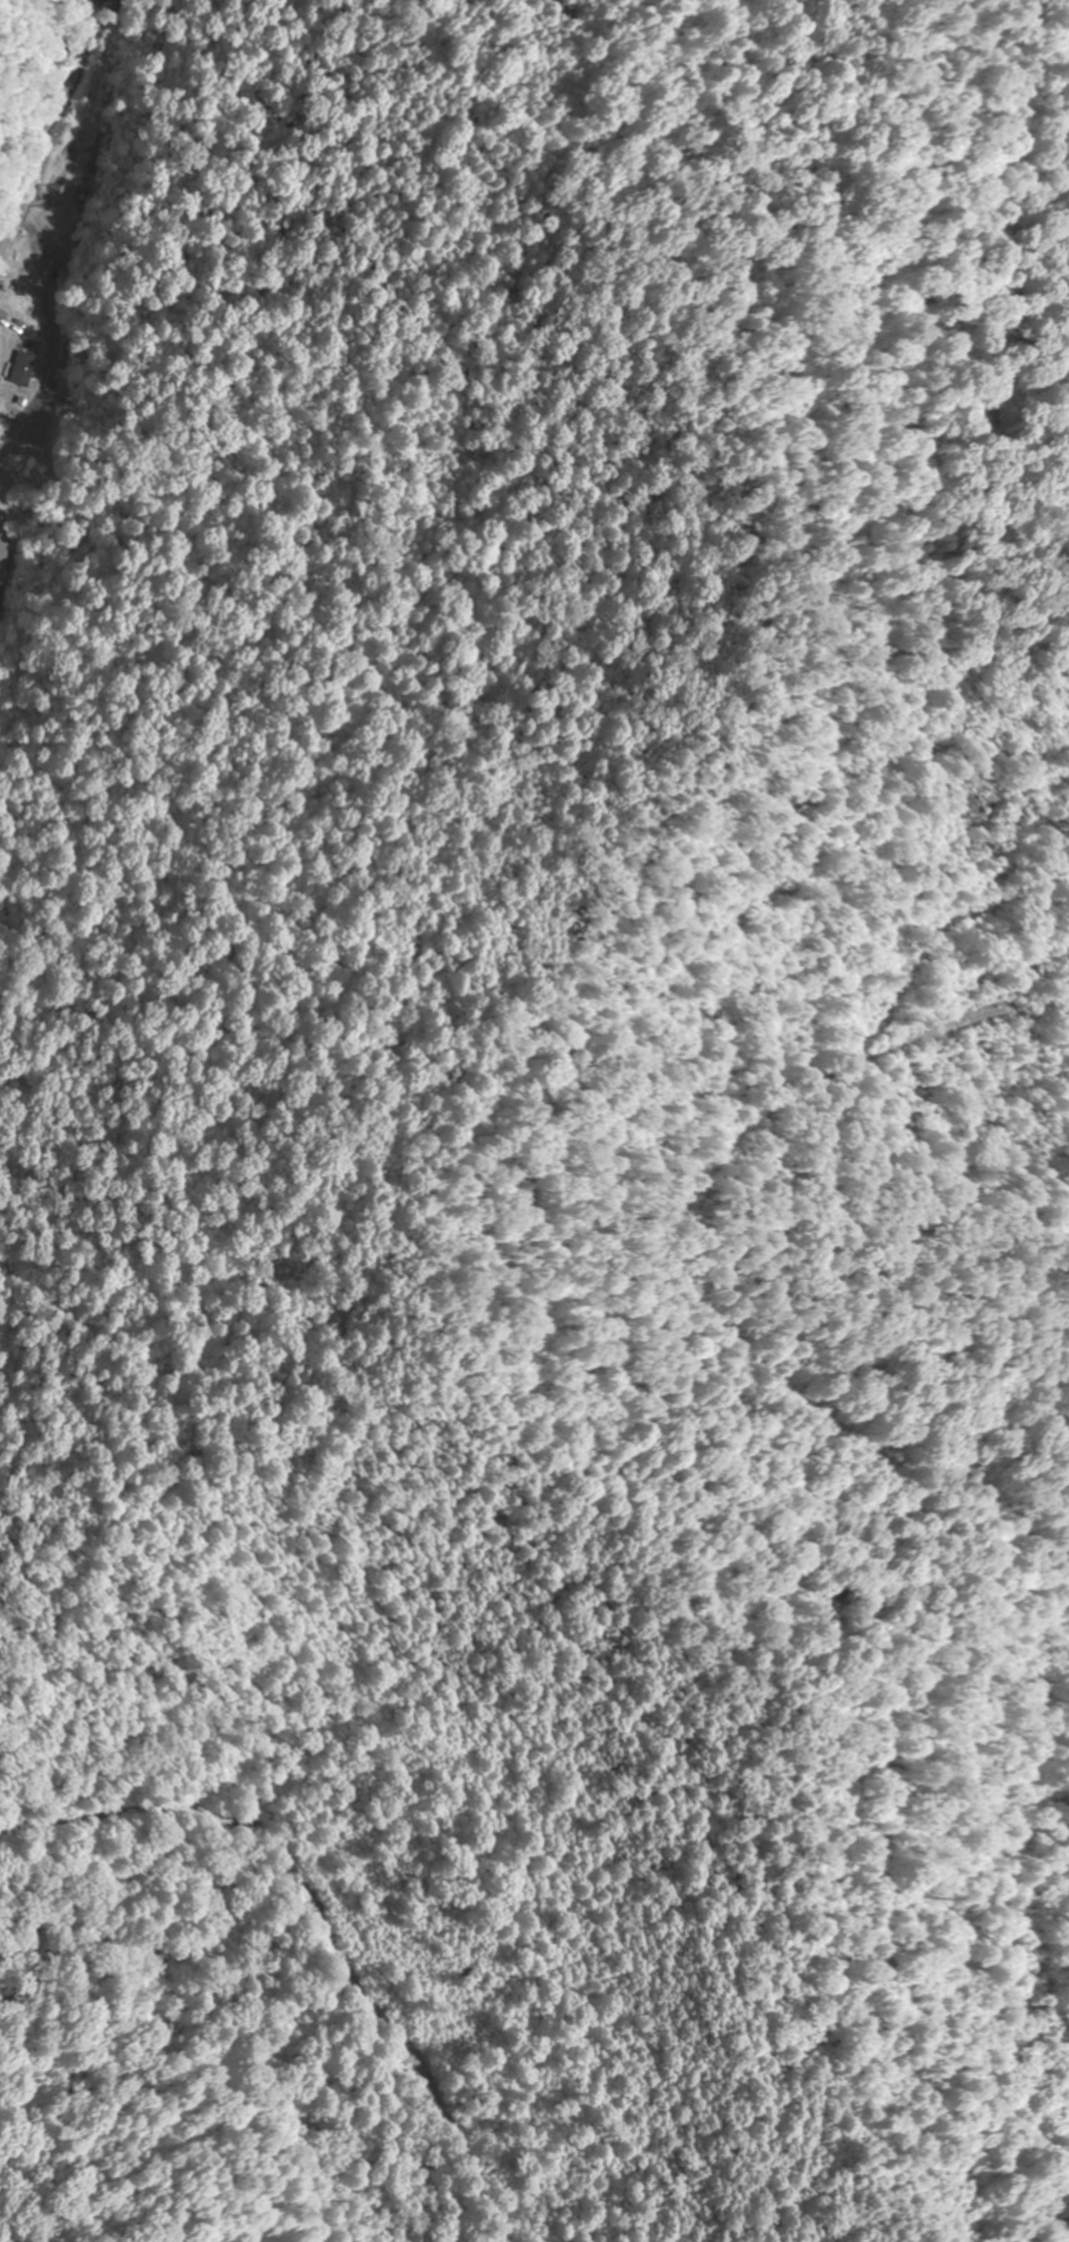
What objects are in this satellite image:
road: (64, 135)
building: (0, 585)

